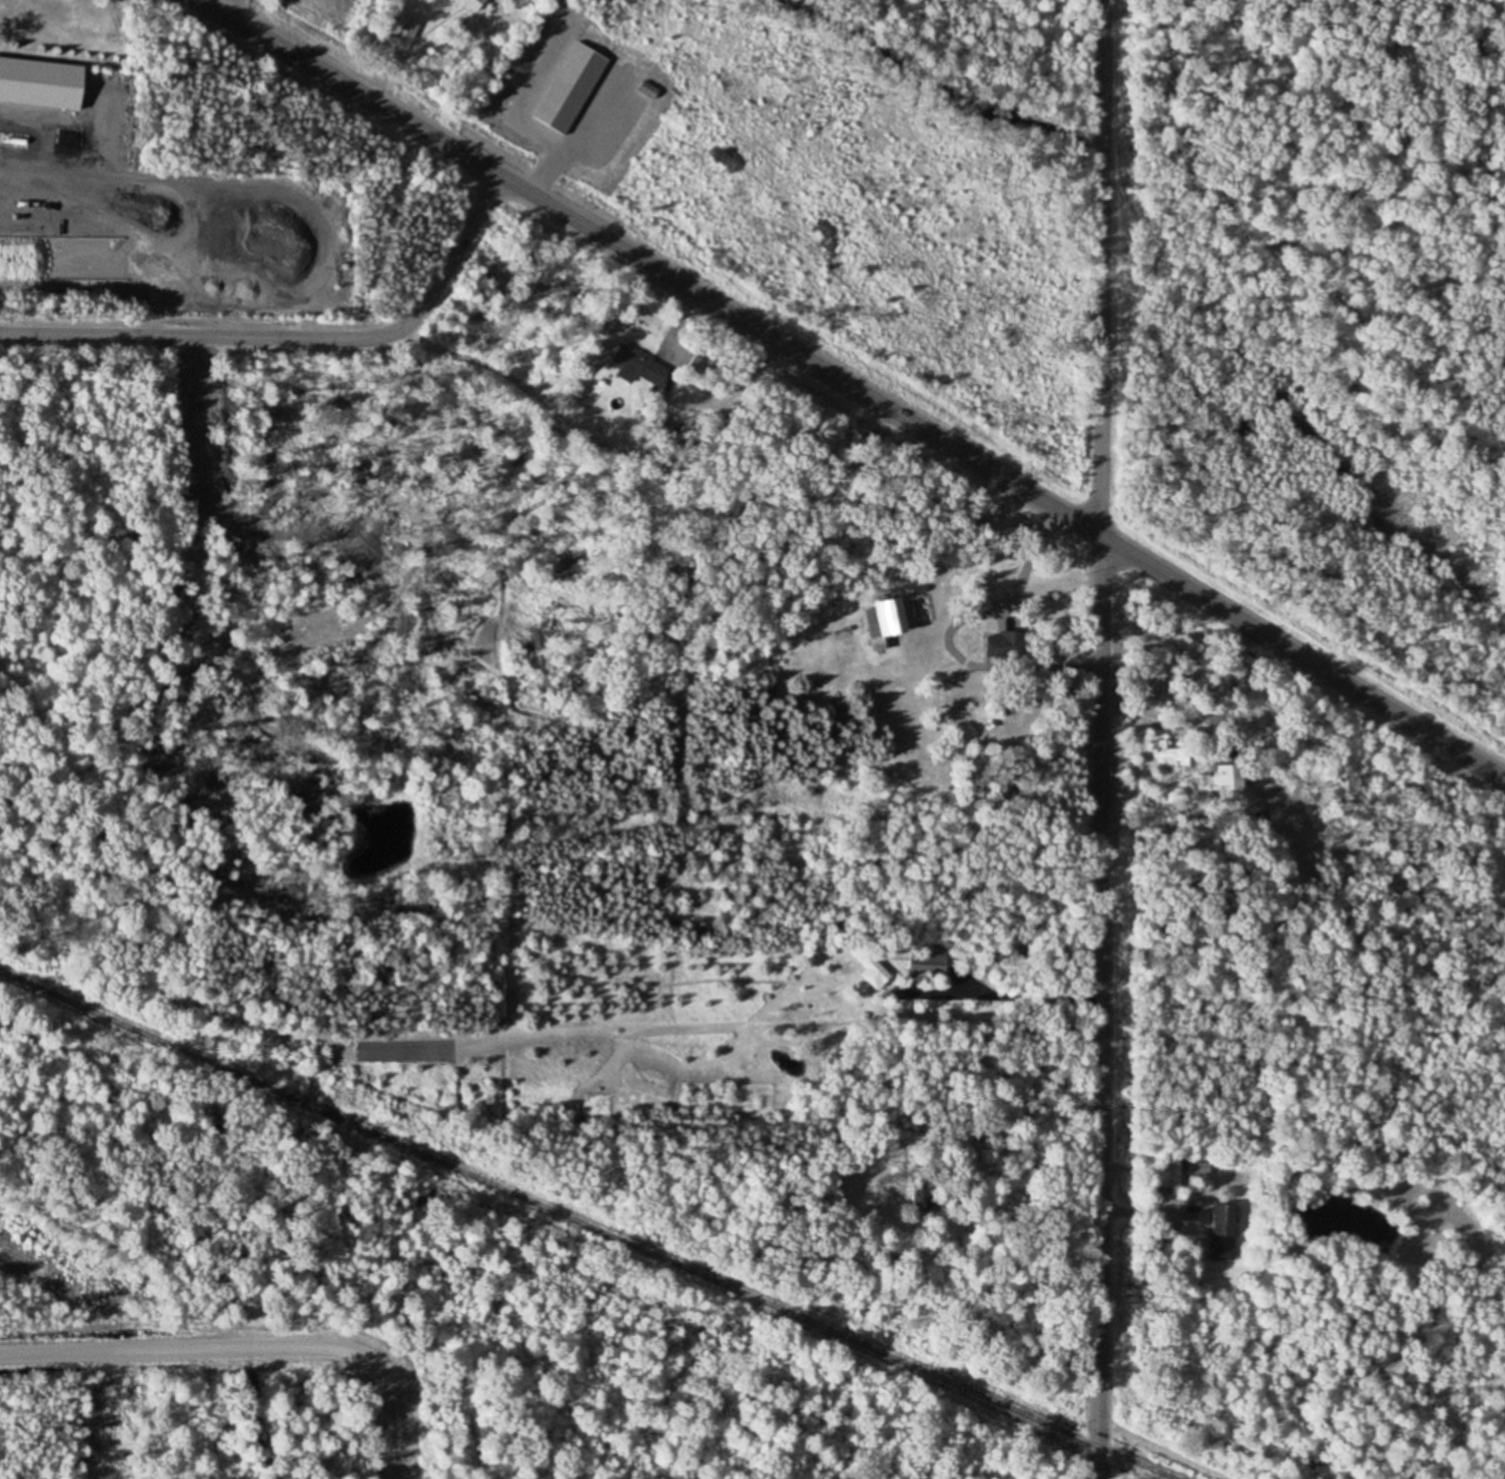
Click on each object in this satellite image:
building: (473, 3)
road: (231, 8)
building: (40, 82)
road: (292, 337)
building: (625, 375)
road: (852, 386)
road: (1028, 556)
building: (885, 617)
building: (1003, 647)
road: (1100, 739)
building: (1166, 749)
building: (1233, 778)
building: (928, 963)
building: (870, 966)
road: (1010, 997)
building: (1168, 1170)
road: (1135, 1213)
railway: (587, 1226)
building: (1217, 1229)

